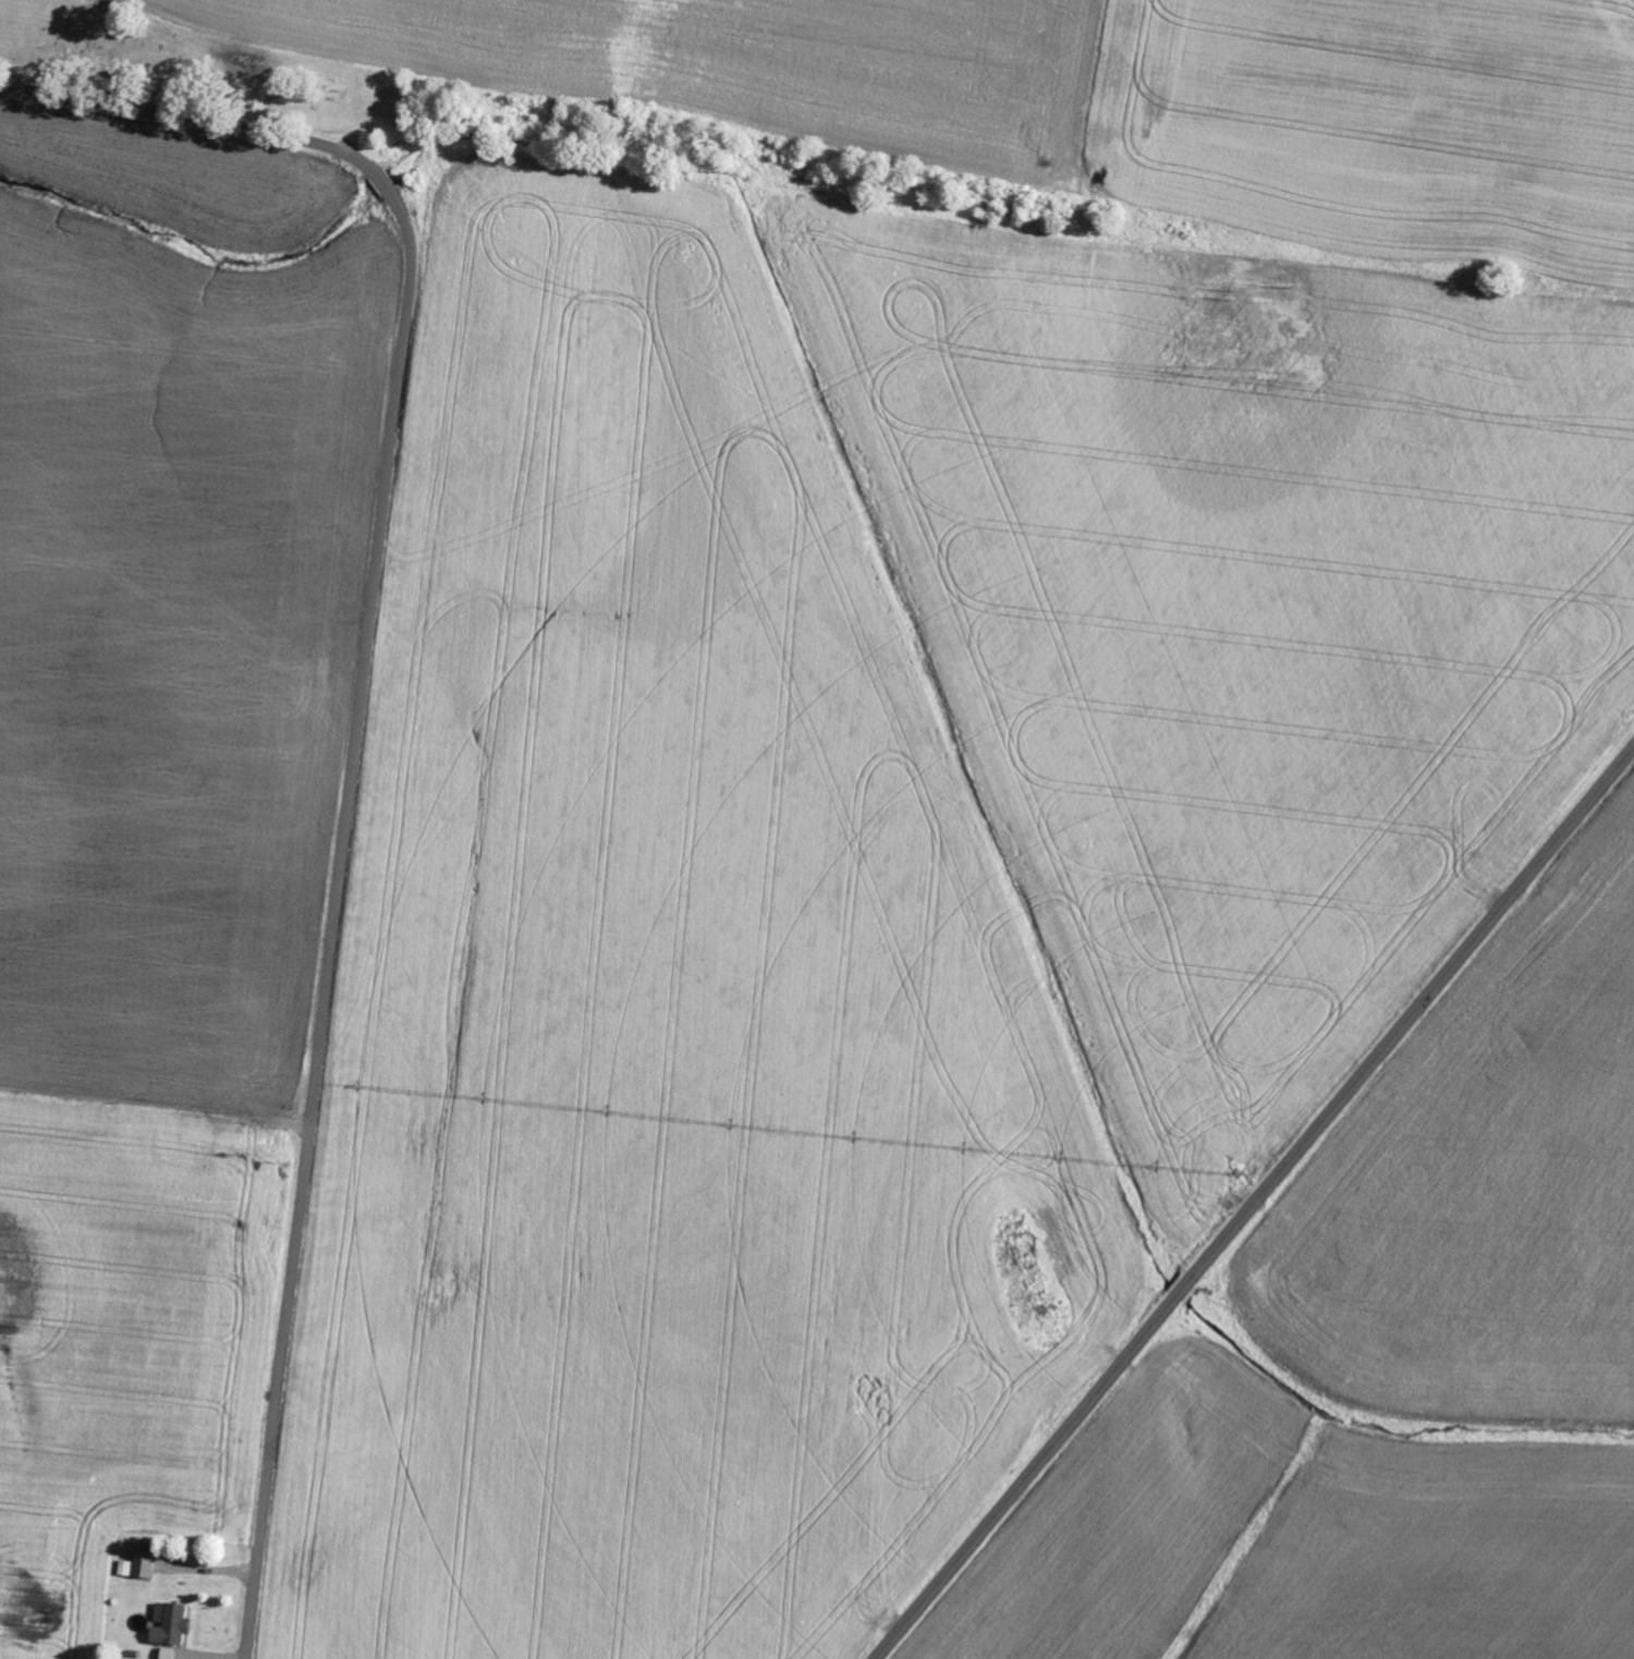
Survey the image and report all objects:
park: (121, 54)
road: (352, 723)
road: (1255, 1204)

